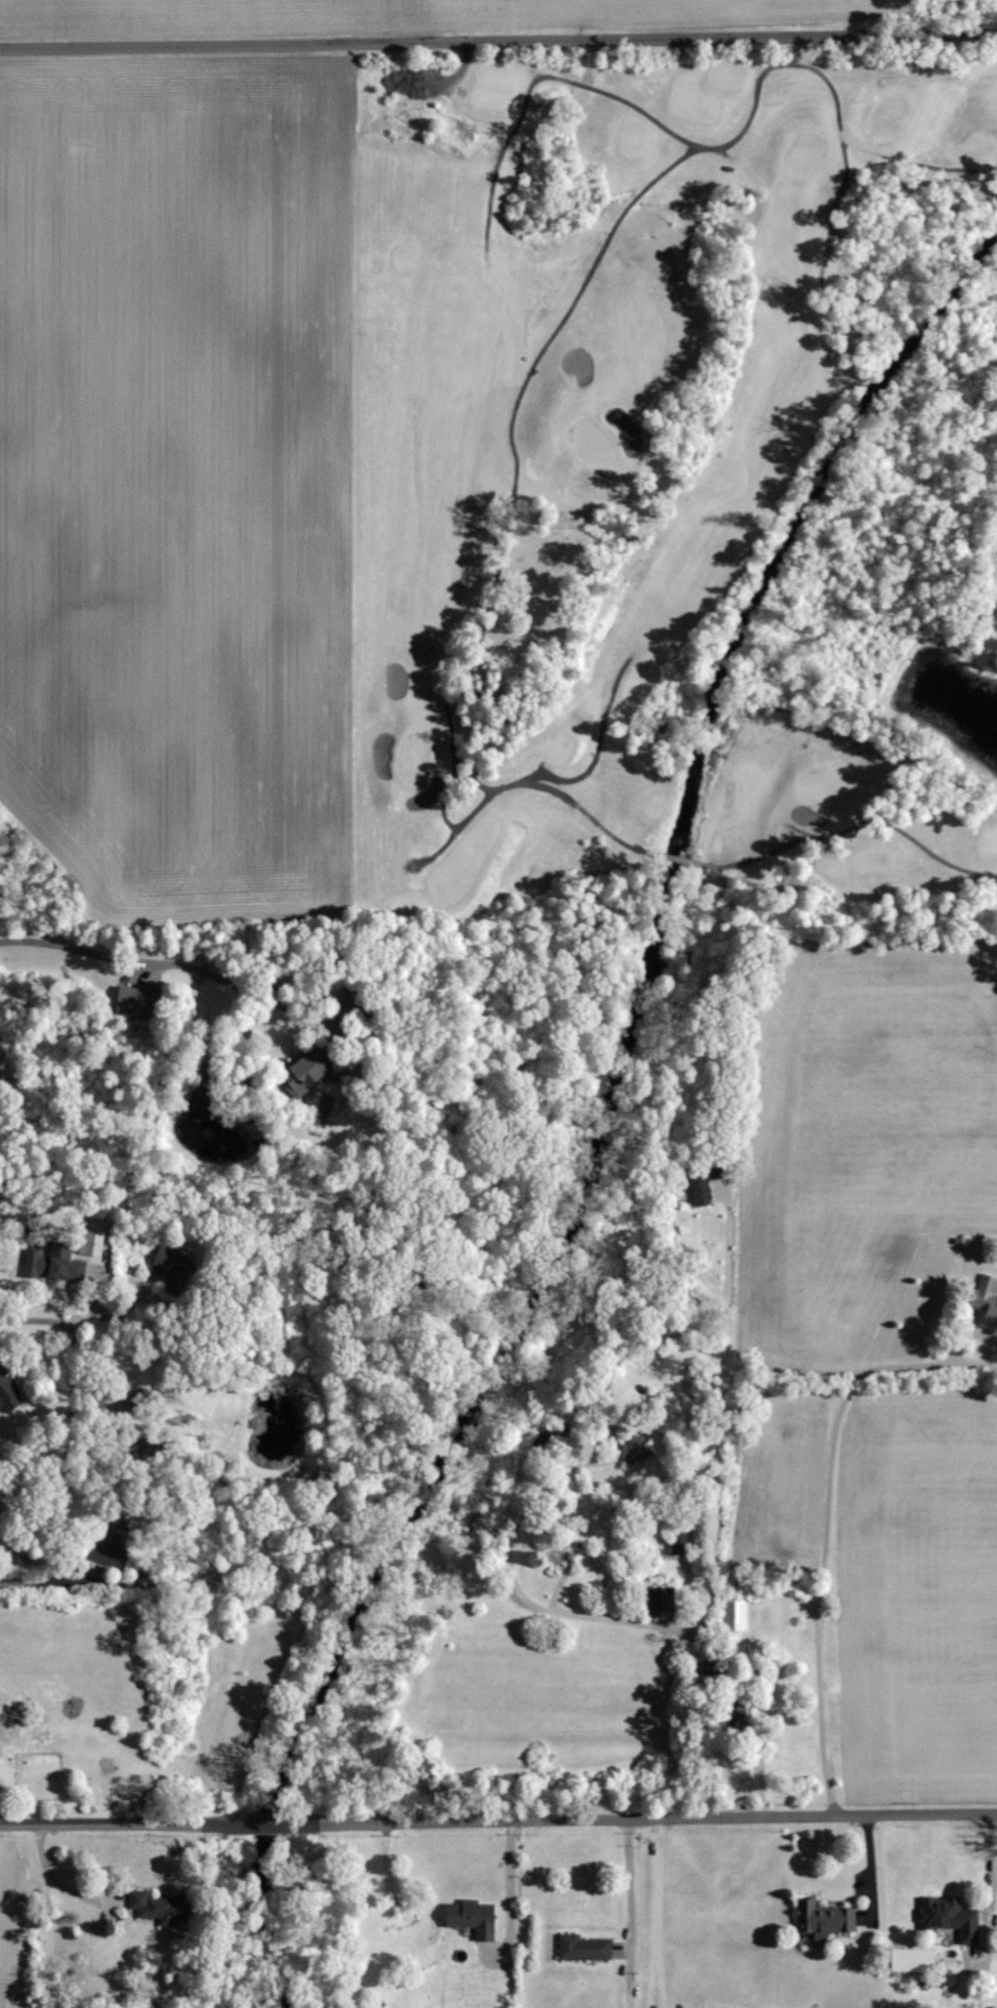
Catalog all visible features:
road: (498, 39)
park: (892, 118)
road: (715, 148)
park: (806, 154)
road: (737, 160)
park: (584, 442)
park: (675, 486)
road: (510, 506)
river: (766, 578)
park: (531, 588)
park: (414, 756)
road: (594, 761)
park: (825, 780)
road: (458, 824)
road: (438, 850)
road: (762, 855)
road: (132, 959)
building: (138, 1002)
building: (359, 1004)
road: (341, 1016)
building: (306, 1070)
building: (704, 1181)
building: (91, 1243)
building: (60, 1268)
building: (174, 1270)
road: (726, 1291)
building: (987, 1299)
building: (9, 1392)
building: (137, 1402)
road: (69, 1439)
building: (634, 1448)
building: (145, 1451)
road: (538, 1493)
road: (825, 1529)
building: (680, 1542)
building: (112, 1543)
building: (661, 1602)
building: (737, 1614)
building: (764, 1678)
road: (701, 1724)
building: (738, 1724)
building: (38, 1729)
road: (661, 1818)
road: (266, 1823)
road: (103, 1824)
road: (510, 1880)
road: (52, 1881)
building: (161, 1907)
road: (641, 1912)
road: (671, 1913)
building: (473, 1917)
building: (824, 1917)
building: (950, 1917)
building: (584, 1948)
building: (913, 1960)

